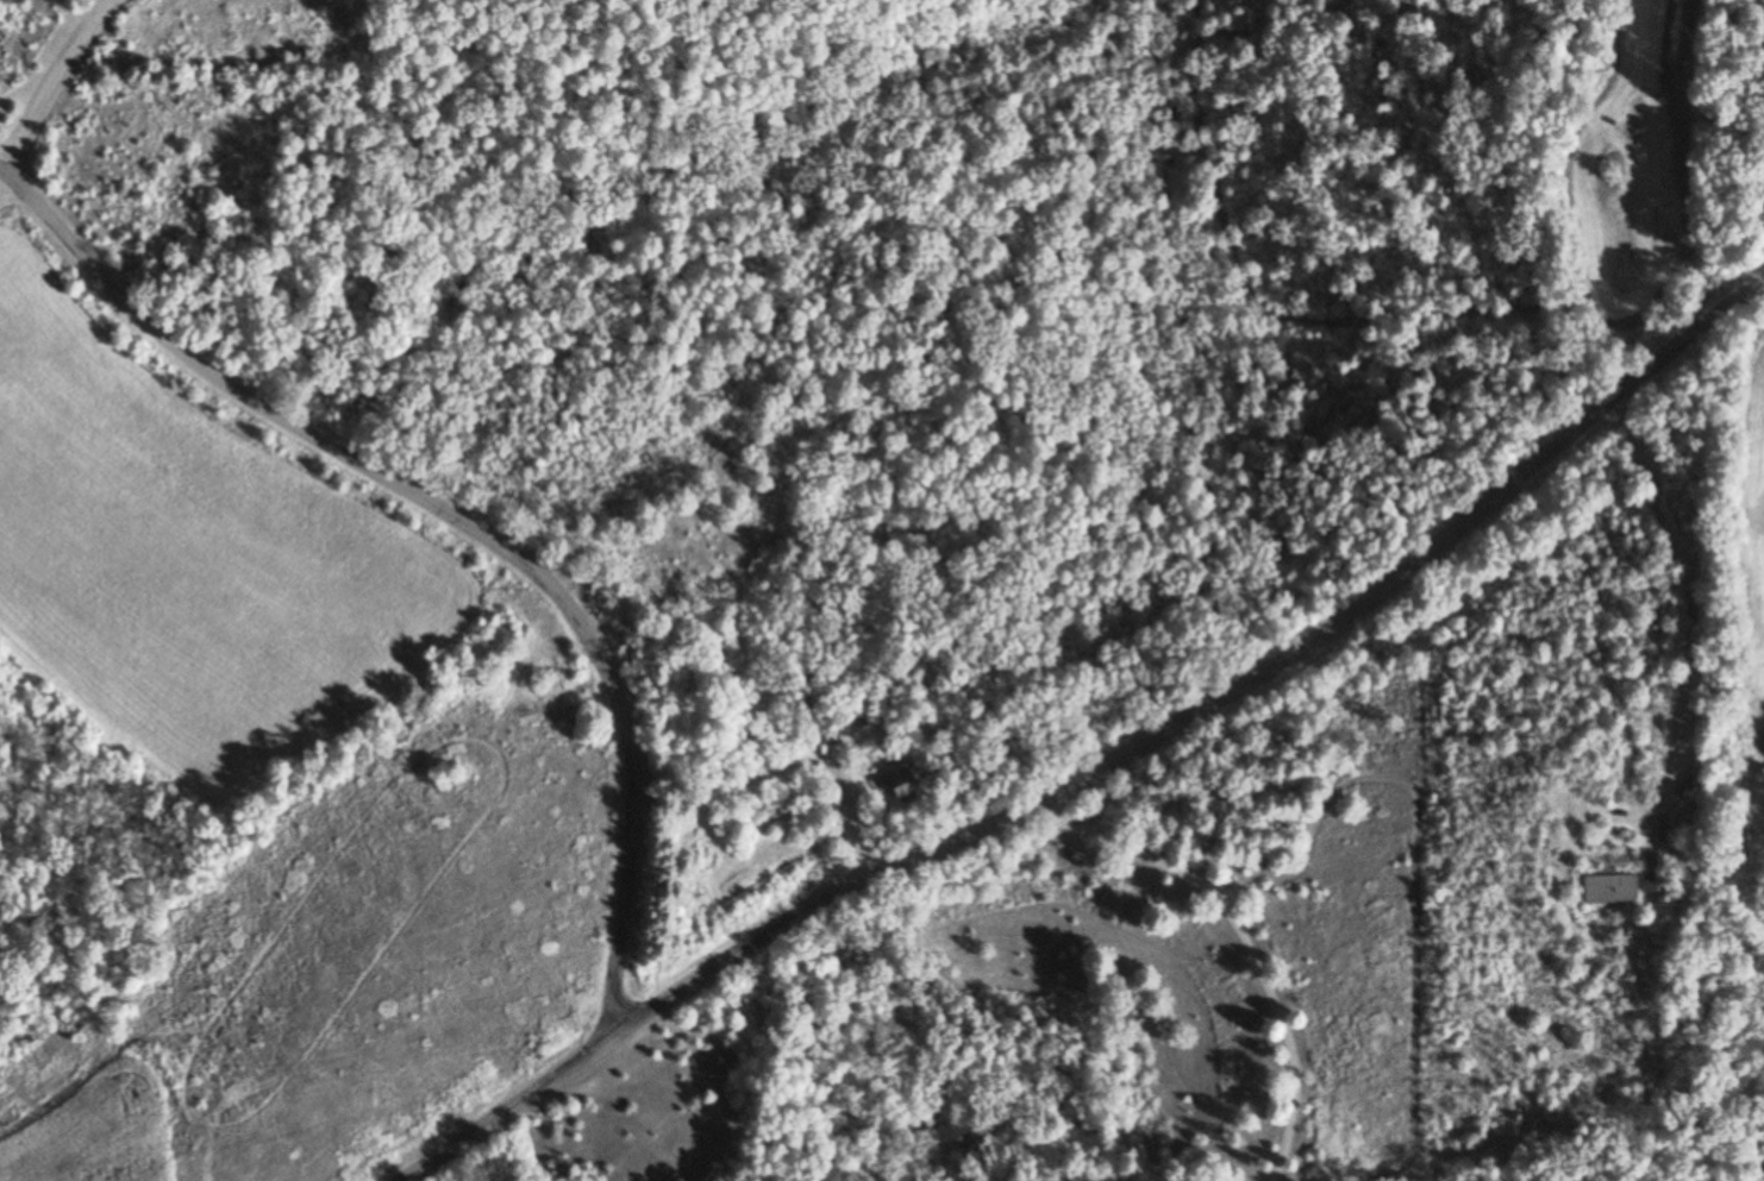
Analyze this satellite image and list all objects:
road: (50, 82)
road: (453, 515)
road: (1688, 616)
road: (1099, 767)
building: (893, 786)
building: (1607, 891)

